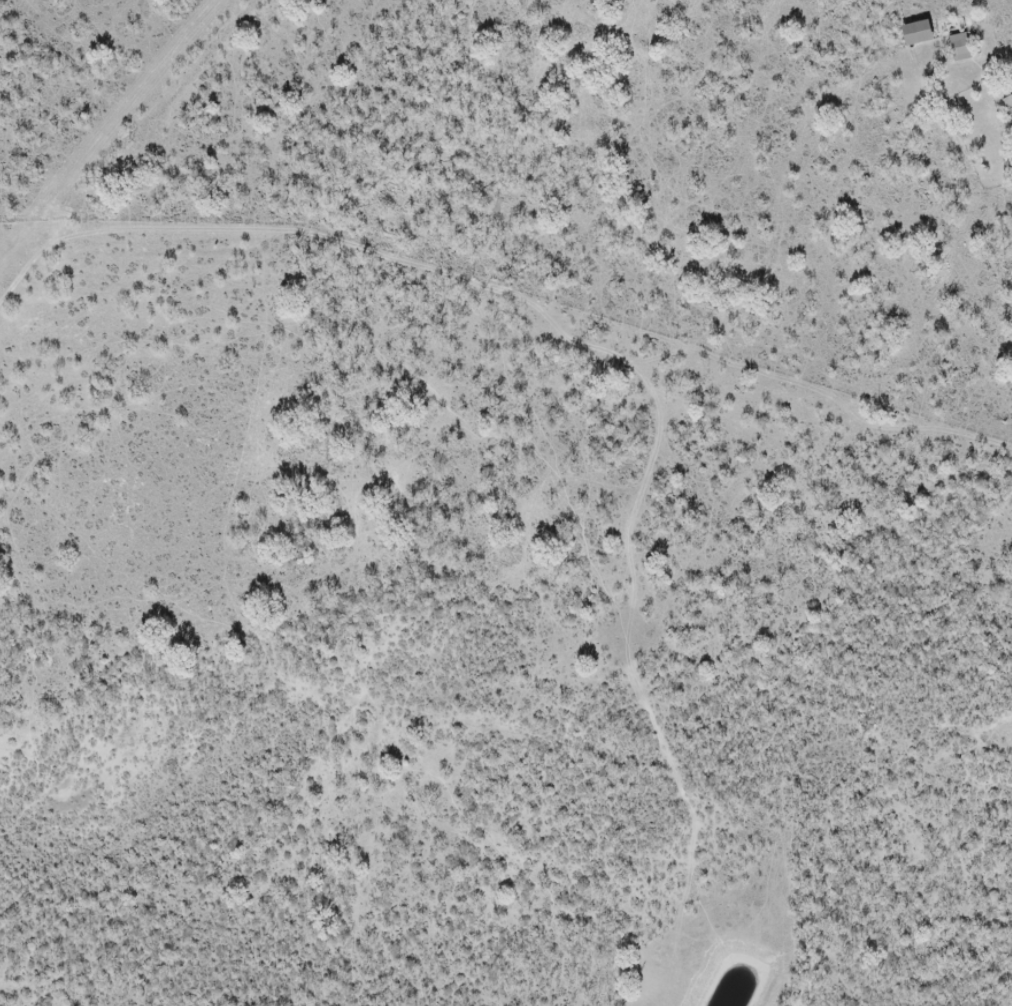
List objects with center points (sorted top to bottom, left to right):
building: (952, 26)
building: (916, 32)
building: (961, 47)
building: (1008, 104)

